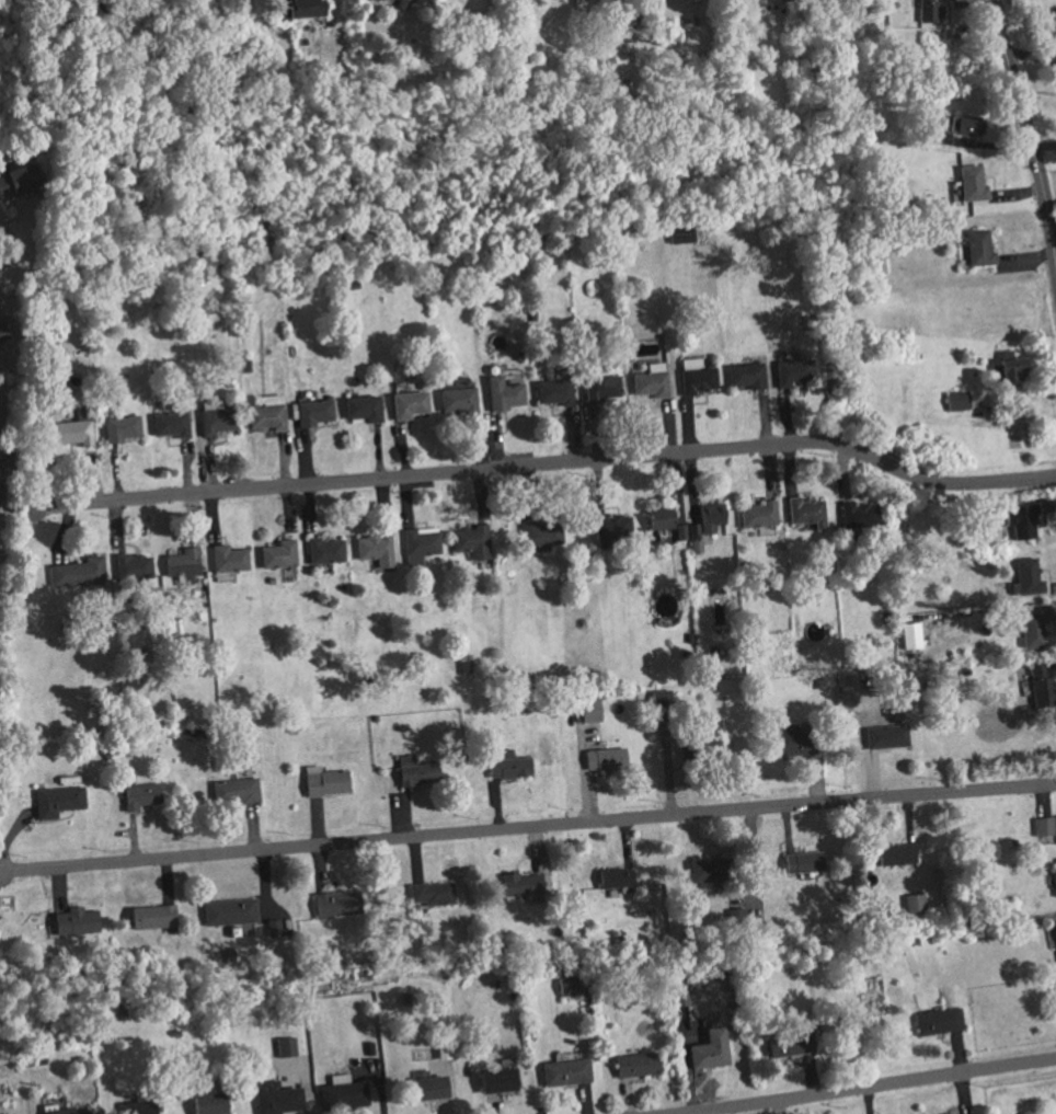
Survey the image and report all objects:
building: (376, 0)
building: (296, 10)
building: (929, 11)
building: (964, 125)
road: (1028, 129)
building: (15, 181)
building: (971, 184)
building: (678, 233)
road: (16, 243)
building: (977, 249)
building: (2, 332)
building: (1009, 368)
building: (792, 371)
building: (745, 374)
building: (695, 376)
building: (648, 382)
building: (599, 387)
building: (553, 392)
building: (501, 393)
building: (456, 399)
building: (955, 400)
building: (406, 403)
building: (363, 404)
building: (311, 411)
building: (265, 412)
building: (214, 416)
building: (169, 423)
building: (118, 427)
building: (71, 430)
road: (551, 463)
building: (804, 510)
building: (858, 512)
building: (757, 513)
building: (709, 516)
building: (670, 519)
building: (1020, 519)
building: (610, 525)
building: (539, 532)
building: (470, 539)
building: (418, 543)
building: (374, 548)
building: (323, 549)
building: (277, 553)
building: (227, 558)
building: (161, 563)
building: (76, 571)
building: (1026, 576)
building: (1031, 628)
building: (908, 634)
building: (1052, 673)
building: (1040, 684)
building: (846, 690)
building: (659, 699)
building: (588, 710)
building: (885, 735)
building: (791, 742)
building: (604, 758)
building: (506, 765)
building: (414, 771)
building: (323, 781)
building: (139, 794)
building: (56, 800)
road: (528, 826)
building: (1043, 826)
building: (894, 853)
building: (802, 861)
building: (703, 870)
building: (613, 876)
building: (1054, 880)
building: (519, 884)
building: (428, 892)
building: (335, 903)
building: (912, 903)
building: (227, 911)
building: (150, 916)
building: (73, 920)
building: (1053, 931)
building: (567, 985)
building: (685, 1019)
building: (937, 1021)
building: (788, 1043)
building: (284, 1046)
building: (708, 1049)
building: (635, 1064)
building: (564, 1071)
building: (495, 1080)
building: (427, 1087)
road: (864, 1087)
building: (341, 1093)
building: (275, 1098)
building: (206, 1103)
building: (141, 1109)
building: (58, 1110)

